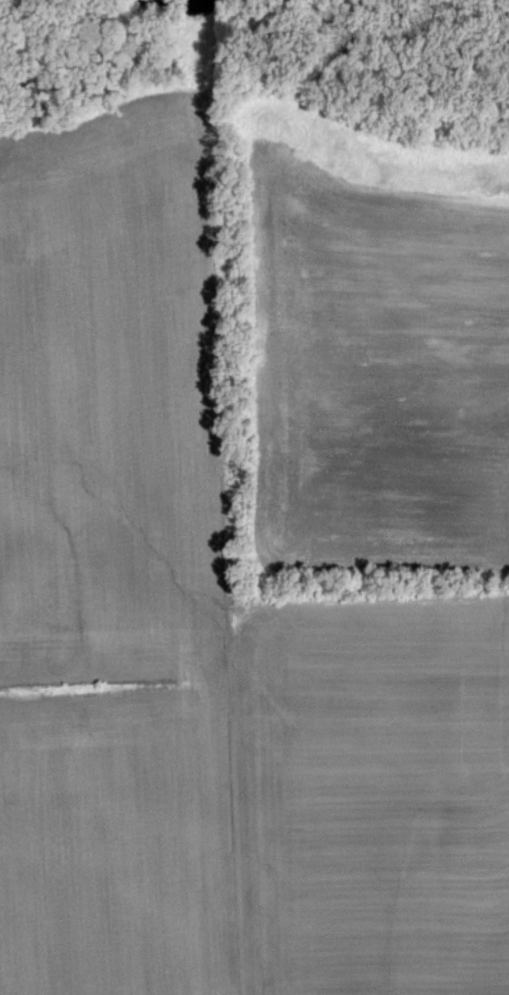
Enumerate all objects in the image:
crop: (376, 370)
crop: (204, 646)

